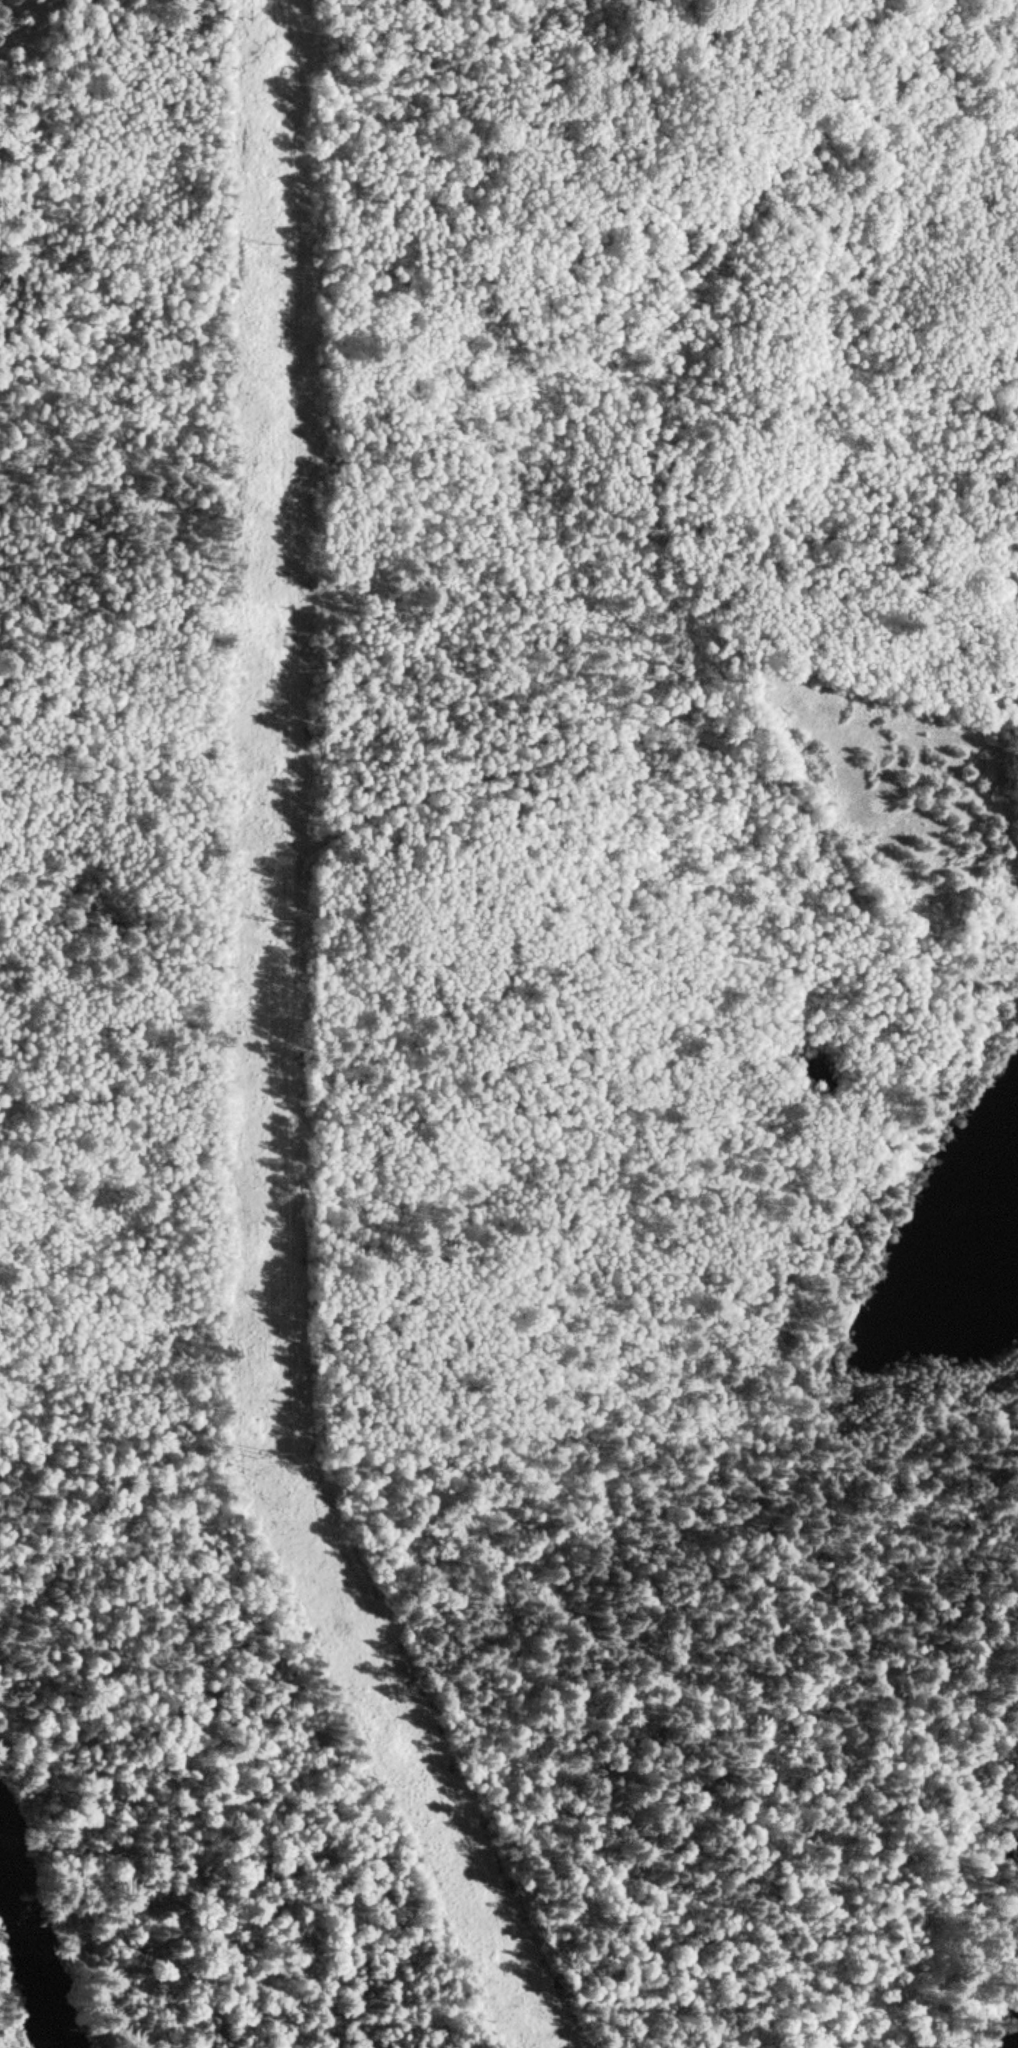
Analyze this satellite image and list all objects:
river: (53, 1931)

